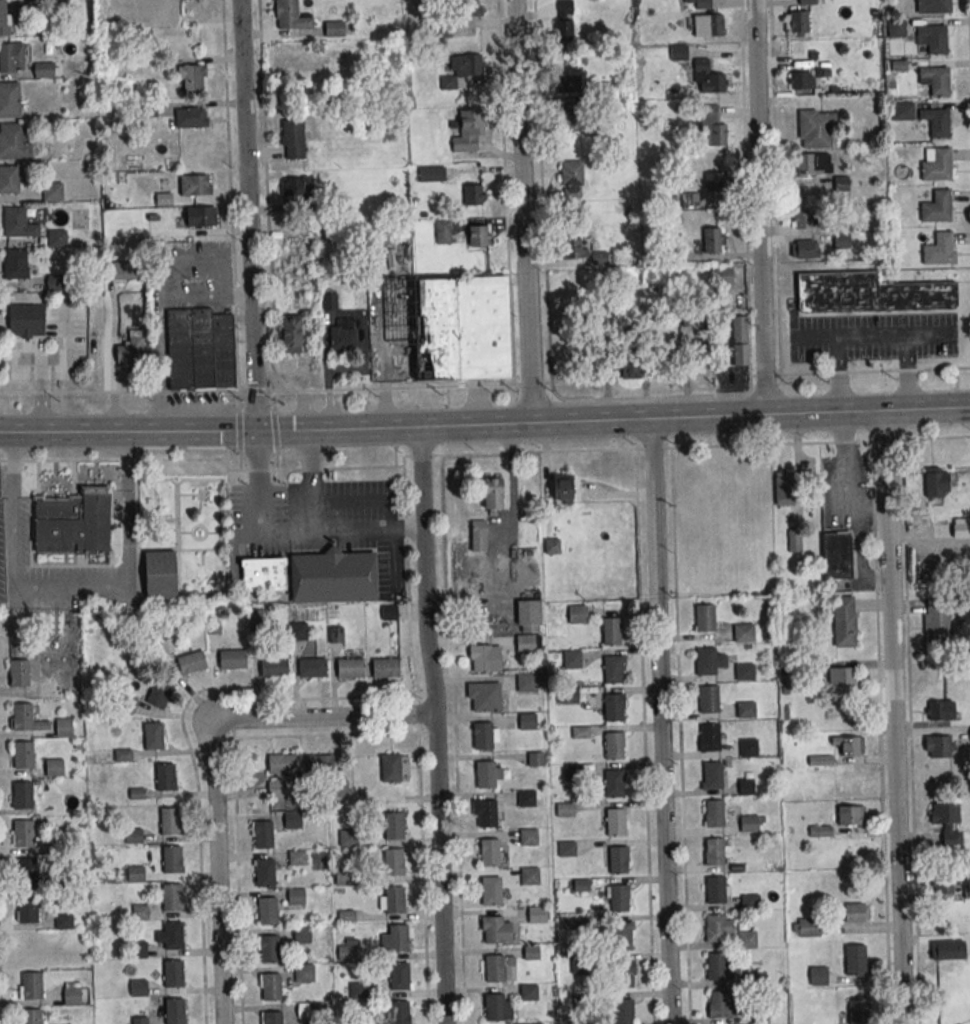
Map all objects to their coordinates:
building: (933, 6)
building: (467, 8)
building: (291, 16)
building: (4, 17)
building: (565, 20)
building: (796, 22)
building: (706, 25)
road: (969, 25)
building: (895, 27)
building: (334, 29)
building: (934, 38)
building: (351, 54)
building: (12, 57)
building: (462, 65)
building: (44, 69)
building: (192, 77)
building: (801, 79)
building: (936, 80)
building: (713, 82)
building: (568, 83)
building: (9, 99)
building: (191, 117)
building: (936, 122)
building: (713, 125)
building: (816, 128)
building: (468, 130)
building: (292, 139)
building: (13, 140)
road: (264, 150)
building: (814, 164)
building: (937, 166)
building: (431, 174)
building: (9, 179)
building: (571, 179)
building: (716, 182)
building: (841, 183)
building: (194, 185)
building: (296, 187)
building: (52, 191)
building: (473, 194)
building: (689, 200)
road: (760, 207)
building: (937, 208)
road: (524, 211)
road: (248, 215)
building: (201, 216)
building: (801, 218)
building: (18, 222)
building: (443, 234)
building: (477, 235)
building: (56, 237)
building: (711, 240)
building: (573, 247)
building: (804, 248)
building: (938, 250)
building: (601, 257)
building: (15, 264)
building: (126, 271)
building: (723, 276)
building: (868, 292)
building: (329, 301)
building: (26, 320)
building: (461, 328)
building: (291, 333)
road: (930, 336)
road: (869, 337)
parking lot: (872, 337)
building: (342, 338)
road: (815, 338)
building: (738, 342)
building: (130, 346)
building: (200, 349)
building: (697, 353)
building: (629, 365)
road: (498, 384)
road: (40, 392)
road: (926, 408)
road: (442, 426)
traffic signals: (257, 432)
road: (802, 443)
road: (207, 460)
road: (843, 480)
building: (936, 481)
road: (311, 483)
building: (910, 487)
building: (561, 488)
building: (783, 488)
building: (492, 493)
road: (13, 501)
building: (73, 522)
building: (919, 527)
building: (478, 535)
road: (289, 536)
building: (794, 540)
building: (551, 546)
building: (836, 556)
road: (858, 556)
road: (128, 568)
building: (160, 573)
building: (261, 573)
building: (331, 575)
building: (389, 612)
building: (578, 615)
building: (528, 616)
building: (705, 619)
road: (639, 620)
building: (937, 621)
building: (844, 622)
building: (300, 631)
building: (612, 633)
building: (336, 634)
building: (743, 634)
building: (525, 645)
building: (485, 659)
building: (572, 660)
building: (232, 661)
building: (192, 663)
building: (706, 663)
building: (274, 669)
building: (312, 669)
building: (350, 669)
building: (385, 669)
building: (613, 670)
building: (18, 674)
building: (745, 674)
building: (842, 677)
building: (527, 684)
building: (47, 689)
building: (160, 696)
building: (569, 696)
building: (484, 697)
building: (709, 700)
building: (614, 708)
building: (746, 711)
building: (941, 712)
road: (892, 716)
building: (23, 717)
road: (661, 721)
building: (527, 722)
road: (437, 724)
building: (63, 727)
building: (580, 733)
road: (680, 736)
building: (153, 737)
building: (483, 737)
road: (455, 739)
building: (710, 739)
road: (418, 740)
road: (187, 744)
building: (849, 745)
building: (614, 747)
building: (938, 747)
building: (749, 749)
building: (24, 756)
road: (214, 759)
building: (536, 760)
building: (282, 765)
building: (319, 766)
building: (54, 767)
building: (391, 769)
building: (573, 773)
building: (485, 776)
building: (713, 777)
building: (166, 778)
building: (615, 784)
building: (746, 788)
road: (234, 789)
building: (22, 796)
building: (527, 799)
building: (565, 810)
building: (485, 814)
building: (715, 815)
building: (850, 815)
building: (292, 821)
building: (170, 822)
building: (946, 822)
building: (616, 823)
building: (749, 825)
building: (394, 828)
building: (820, 831)
building: (23, 835)
building: (263, 835)
building: (133, 837)
building: (528, 838)
building: (349, 839)
building: (566, 849)
building: (714, 853)
building: (489, 854)
building: (297, 859)
building: (171, 860)
building: (618, 861)
building: (393, 863)
building: (27, 872)
building: (265, 874)
building: (136, 875)
building: (343, 875)
building: (530, 877)
building: (944, 883)
building: (581, 886)
building: (490, 891)
building: (716, 891)
building: (296, 897)
building: (172, 898)
building: (619, 899)
building: (395, 902)
building: (750, 903)
building: (28, 911)
building: (268, 912)
building: (854, 912)
building: (140, 913)
building: (538, 915)
building: (63, 922)
building: (582, 924)
building: (809, 928)
building: (715, 929)
building: (497, 932)
building: (302, 935)
building: (173, 936)
building: (621, 938)
building: (398, 939)
building: (747, 940)
building: (30, 947)
building: (138, 950)
building: (947, 950)
building: (269, 951)
building: (346, 953)
building: (531, 954)
building: (76, 957)
building: (855, 959)
building: (581, 965)
building: (719, 968)
building: (495, 970)
building: (304, 973)
building: (173, 975)
building: (623, 976)
building: (818, 977)
building: (400, 978)
building: (755, 979)
building: (32, 987)
building: (138, 988)
building: (271, 988)
building: (359, 991)
building: (528, 993)
building: (72, 996)
building: (582, 1001)
building: (721, 1006)
road: (0, 1007)
building: (497, 1009)
building: (858, 1010)
building: (175, 1012)
building: (310, 1012)
building: (624, 1012)
building: (398, 1013)
building: (761, 1015)
building: (31, 1017)
building: (272, 1018)
building: (140, 1020)
building: (364, 1023)
building: (533, 1023)

